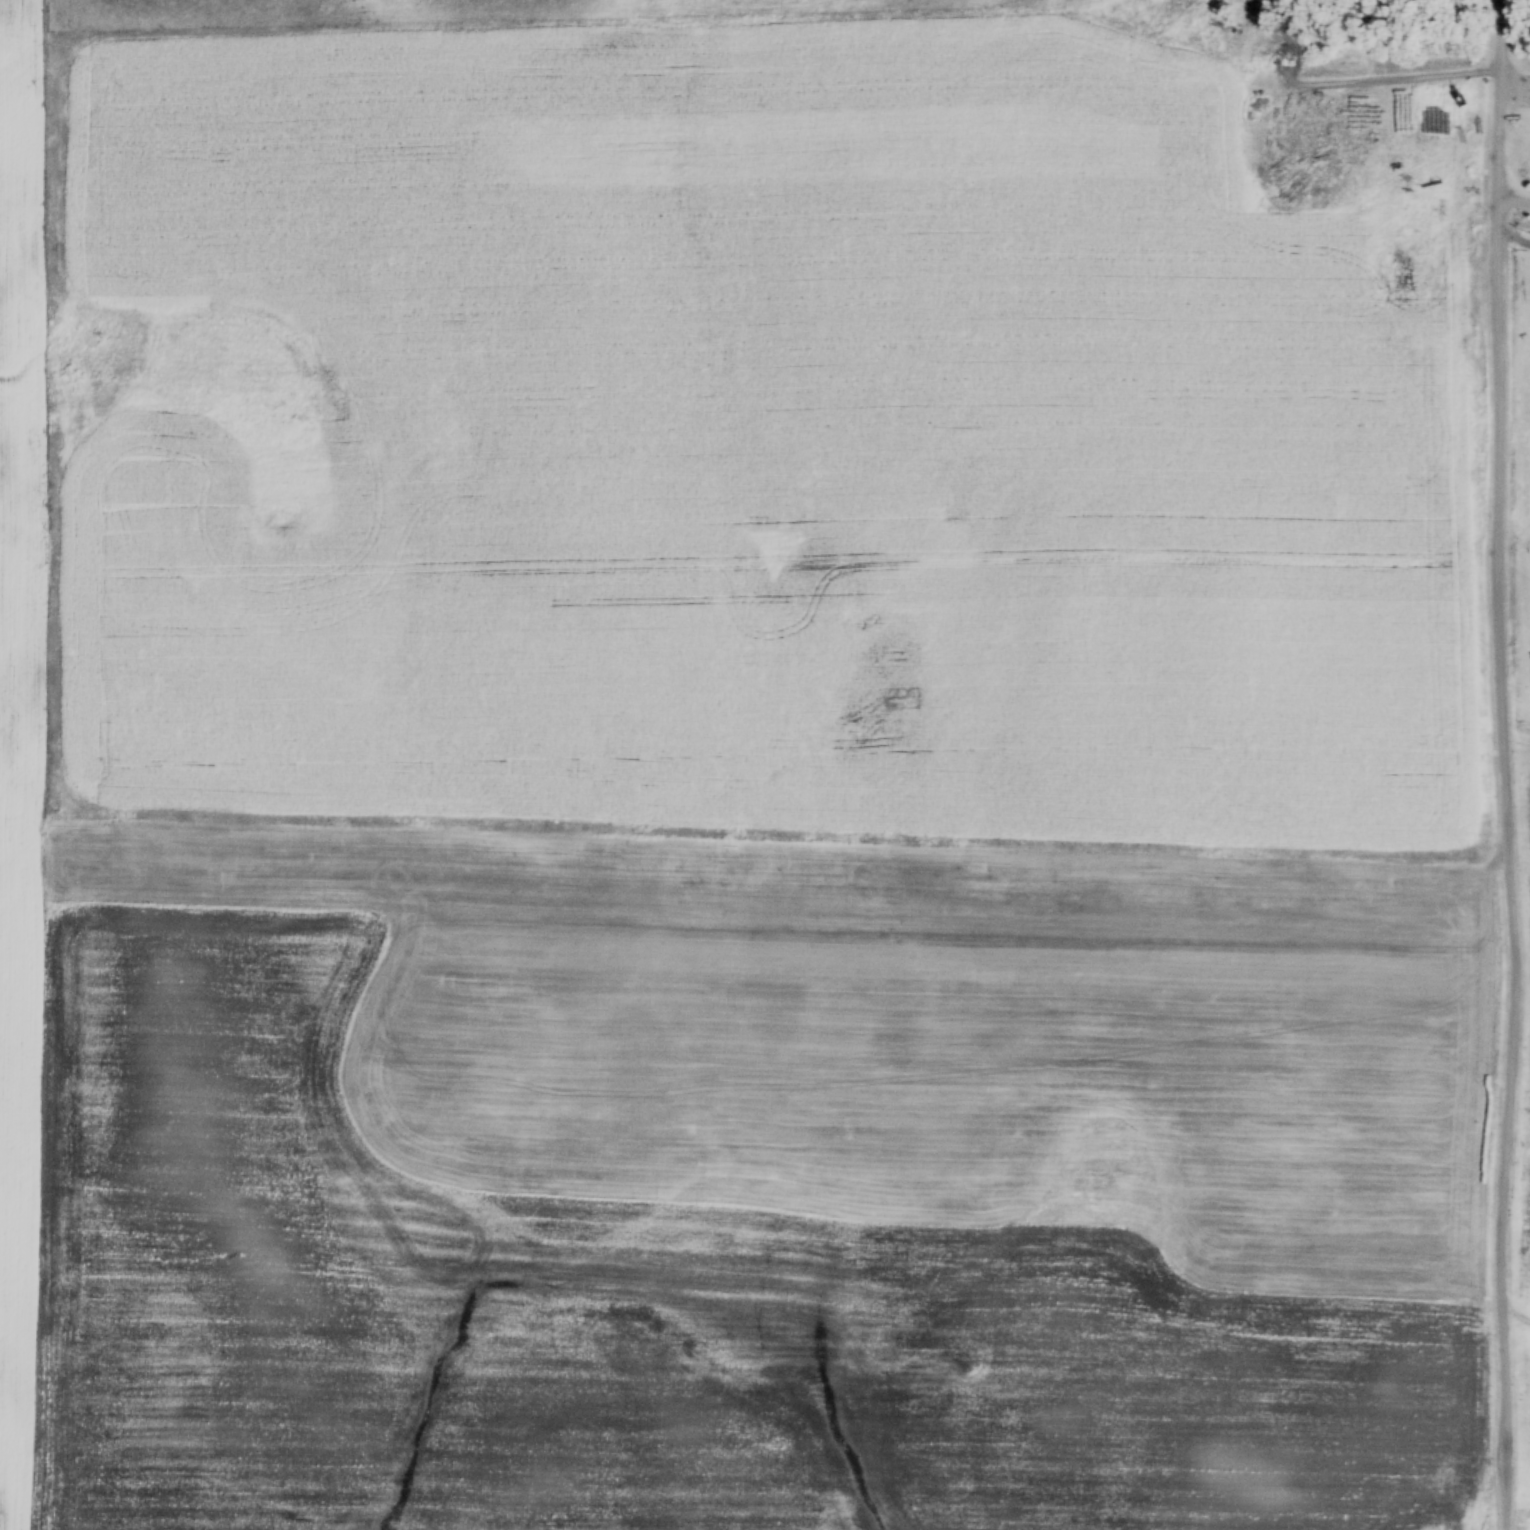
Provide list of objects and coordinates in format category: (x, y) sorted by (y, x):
river: (277, 488)
river: (990, 504)
river: (892, 649)
road: (1500, 765)
road: (1516, 1307)

